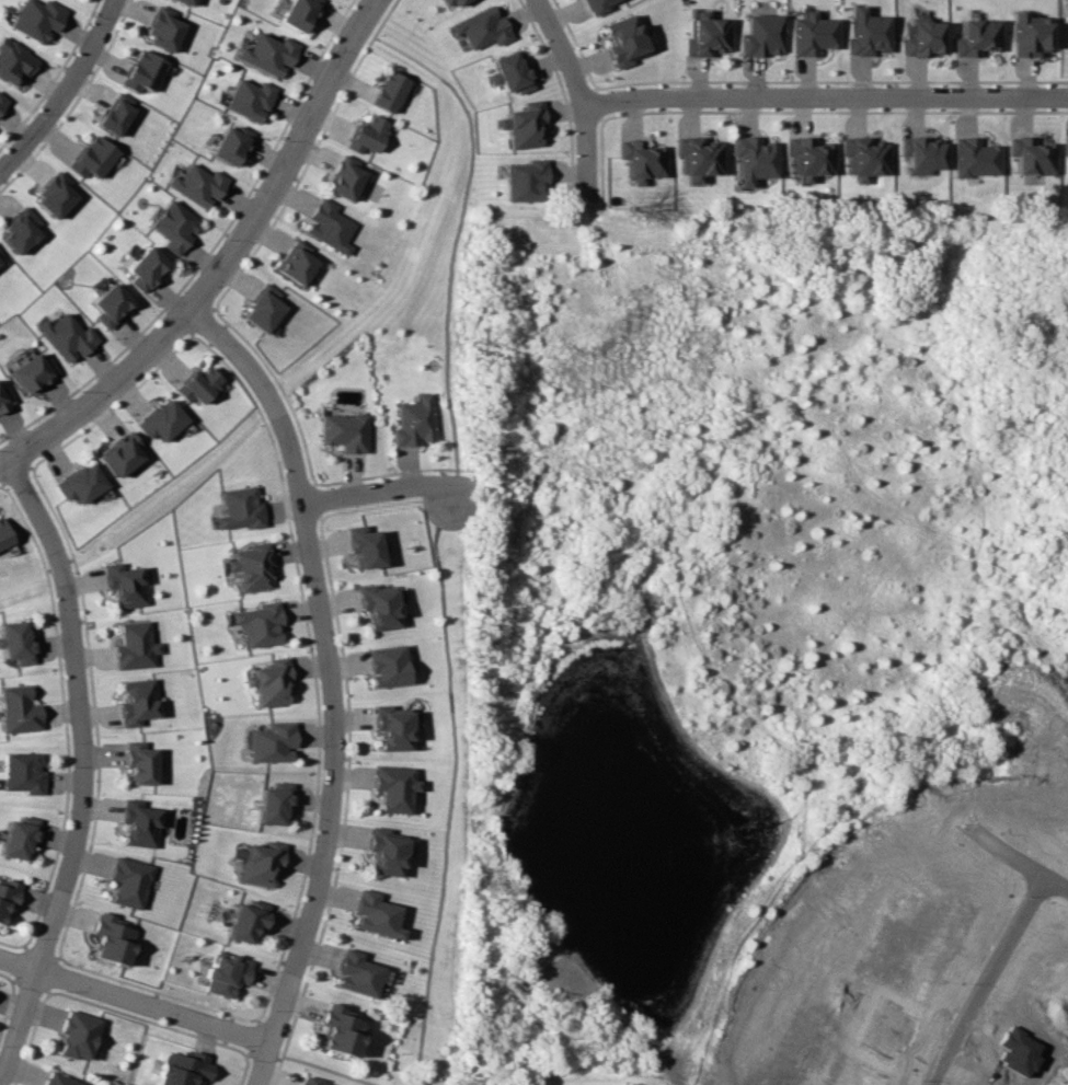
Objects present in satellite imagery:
building: (187, 1)
building: (453, 2)
building: (595, 5)
building: (299, 13)
building: (37, 19)
building: (481, 27)
building: (165, 28)
building: (812, 33)
building: (866, 33)
building: (1027, 34)
building: (705, 35)
building: (761, 35)
building: (922, 37)
building: (976, 37)
building: (624, 41)
building: (268, 53)
building: (14, 61)
building: (143, 71)
building: (510, 72)
road: (67, 91)
building: (389, 91)
road: (824, 95)
building: (250, 99)
road: (579, 99)
building: (2, 102)
building: (116, 113)
building: (521, 124)
building: (368, 135)
building: (231, 145)
building: (1065, 146)
building: (920, 153)
building: (1030, 155)
building: (93, 157)
building: (697, 157)
building: (863, 157)
building: (973, 157)
building: (808, 158)
building: (751, 159)
building: (641, 160)
building: (346, 177)
building: (525, 181)
building: (198, 184)
building: (56, 195)
building: (174, 226)
building: (331, 226)
building: (23, 229)
building: (1, 255)
building: (298, 262)
road: (227, 265)
building: (146, 268)
building: (110, 304)
building: (266, 308)
building: (66, 336)
building: (31, 371)
building: (199, 384)
building: (4, 396)
building: (162, 420)
building: (414, 422)
building: (345, 431)
building: (120, 453)
building: (80, 483)
road: (386, 488)
building: (238, 508)
building: (3, 533)
building: (363, 546)
building: (249, 566)
building: (124, 585)
building: (376, 605)
building: (256, 623)
building: (15, 643)
building: (134, 646)
building: (384, 666)
building: (267, 681)
road: (325, 685)
building: (137, 702)
building: (18, 709)
building: (390, 727)
building: (269, 742)
building: (138, 762)
road: (81, 769)
building: (21, 772)
building: (392, 787)
building: (273, 803)
building: (140, 822)
building: (18, 836)
building: (383, 851)
road: (1017, 859)
building: (259, 862)
building: (127, 881)
building: (5, 899)
building: (374, 914)
building: (245, 920)
building: (111, 938)
building: (225, 973)
building: (354, 973)
road: (980, 980)
road: (135, 1000)
building: (335, 1030)
building: (77, 1035)
building: (182, 1067)
building: (56, 1080)
building: (307, 1082)

